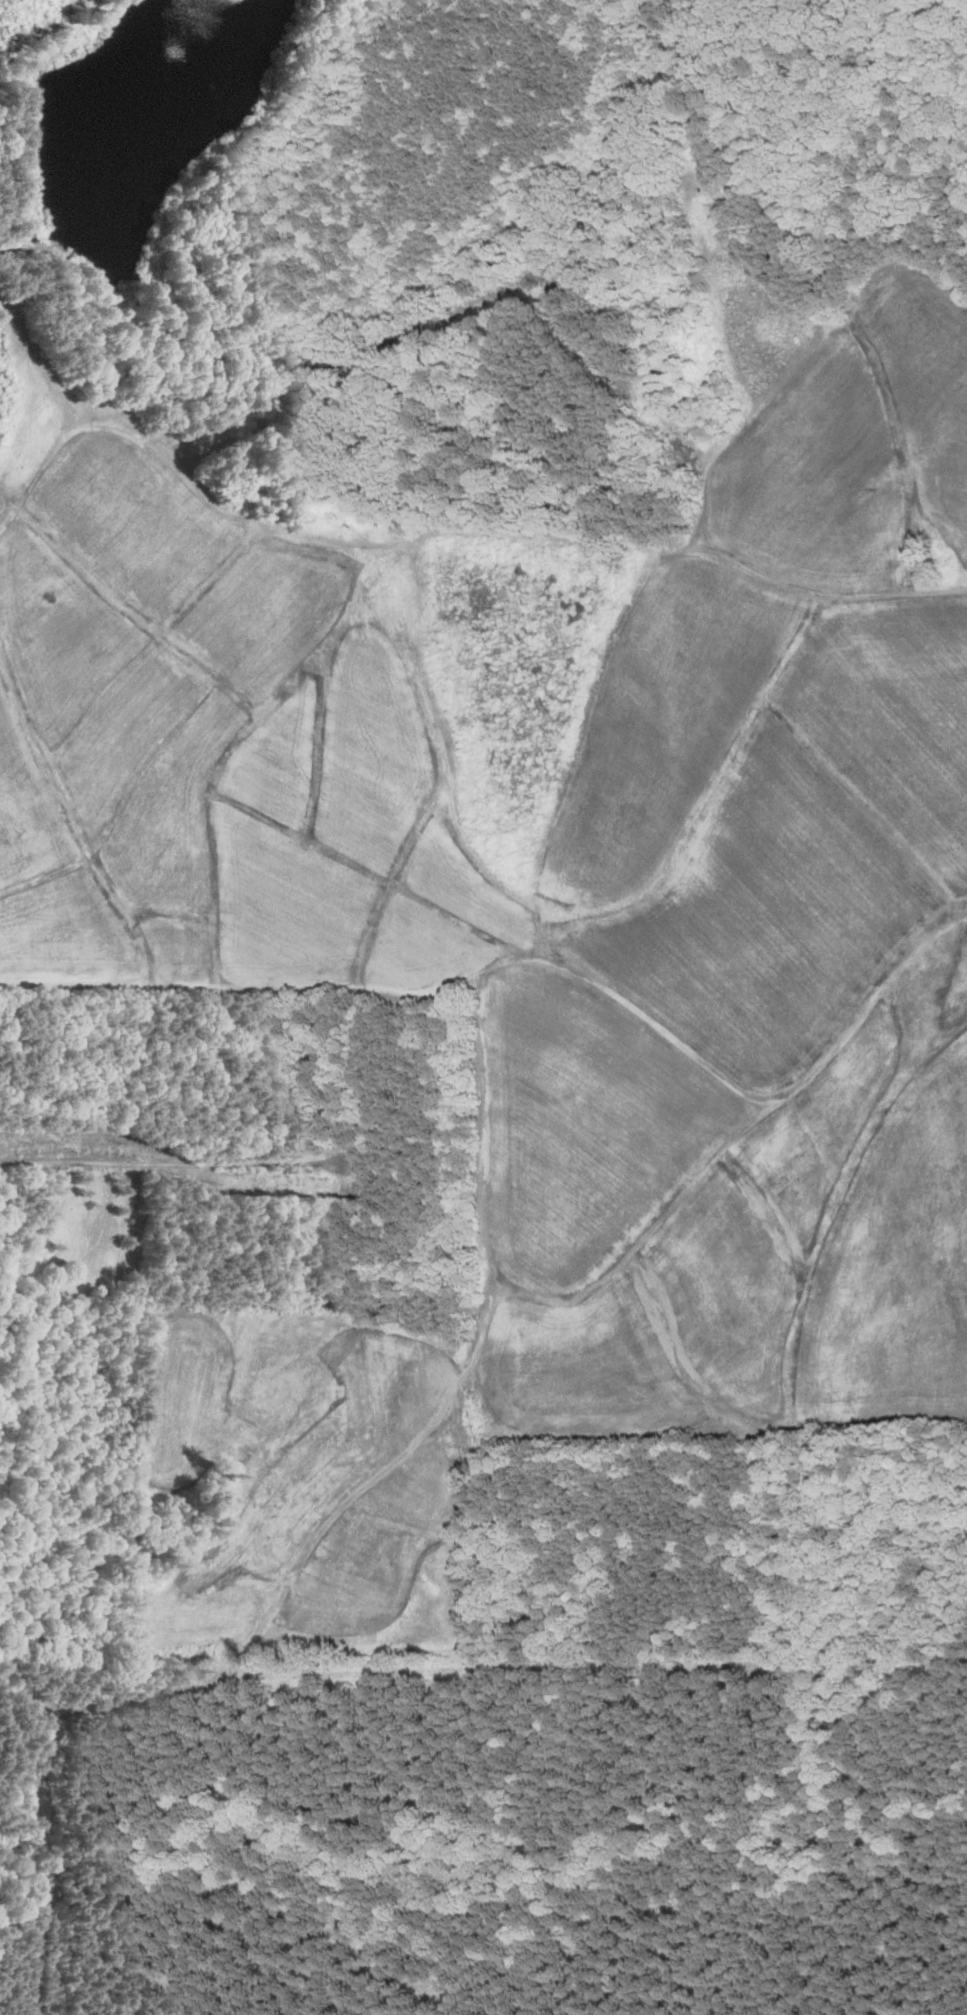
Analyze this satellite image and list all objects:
building: (662, 364)
road: (171, 1163)

